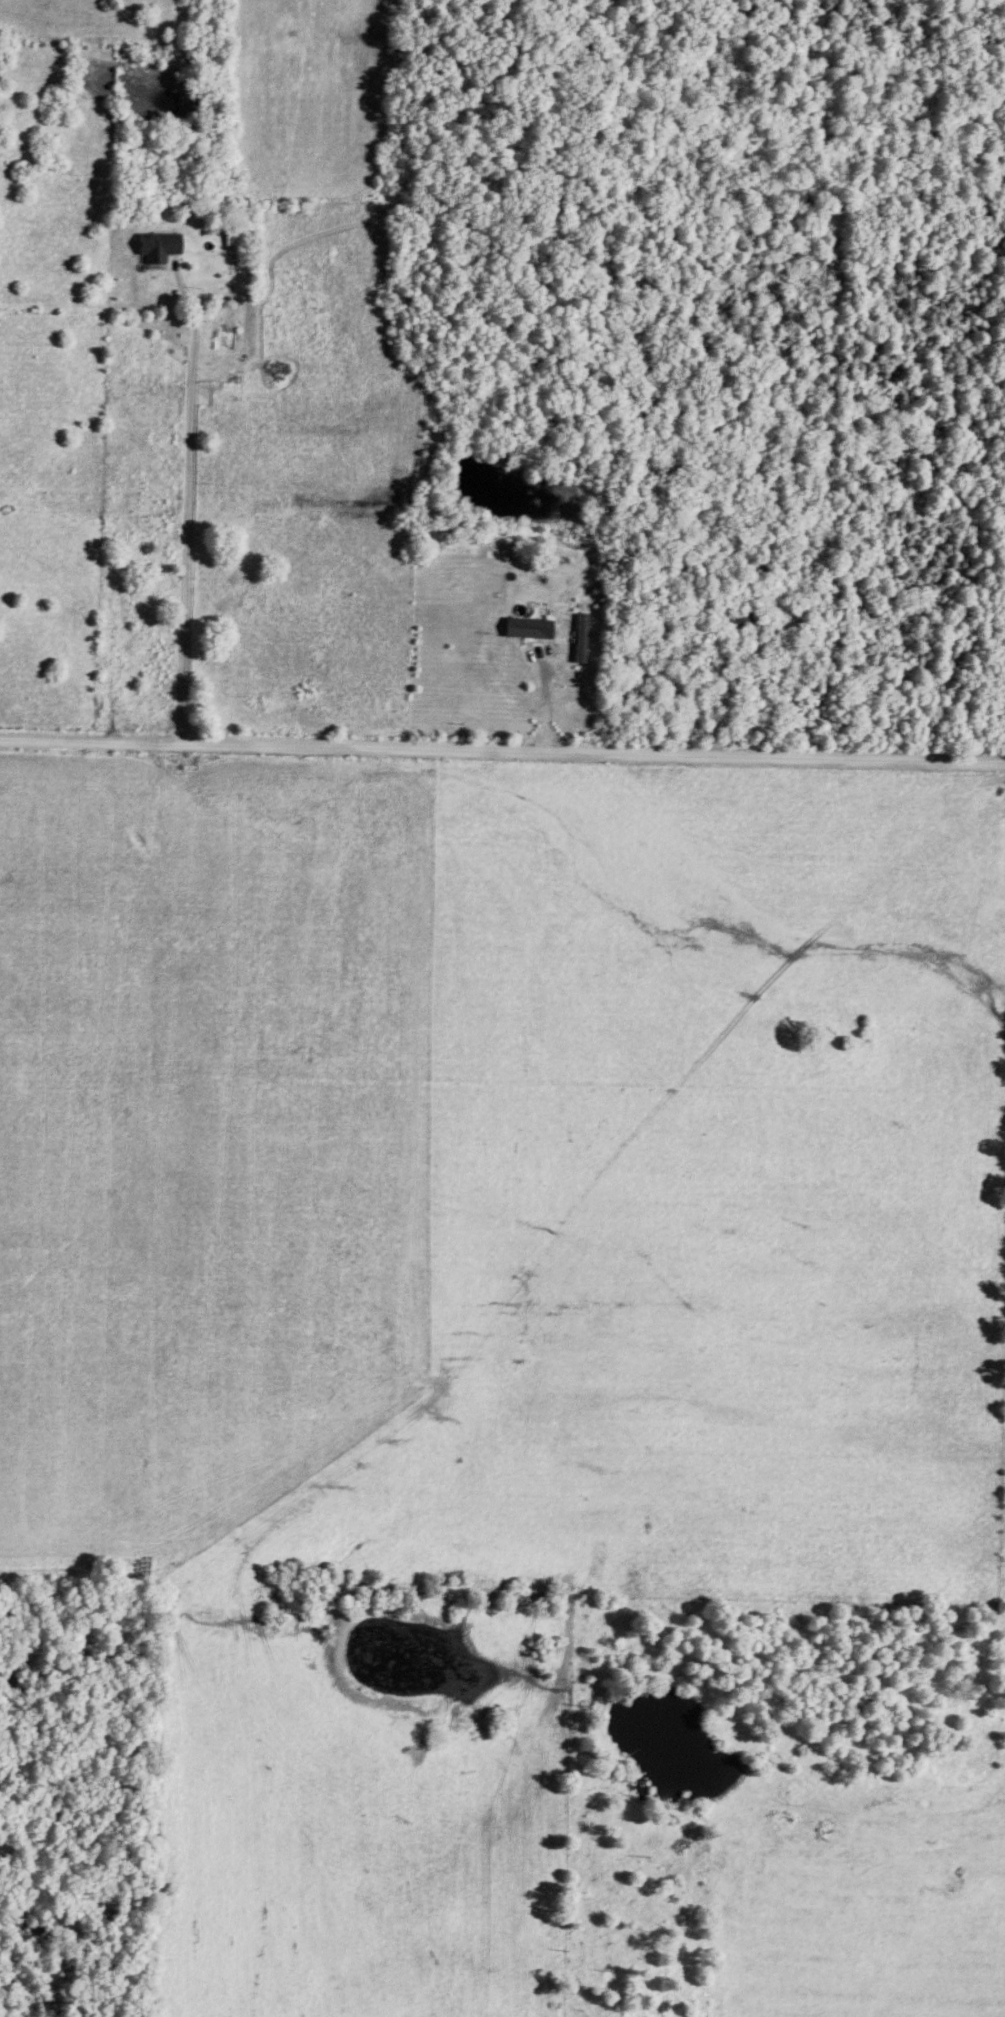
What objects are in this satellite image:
building: (231, 238)
building: (156, 248)
road: (189, 511)
building: (759, 571)
building: (734, 625)
building: (526, 630)
road: (547, 702)
road: (502, 750)

